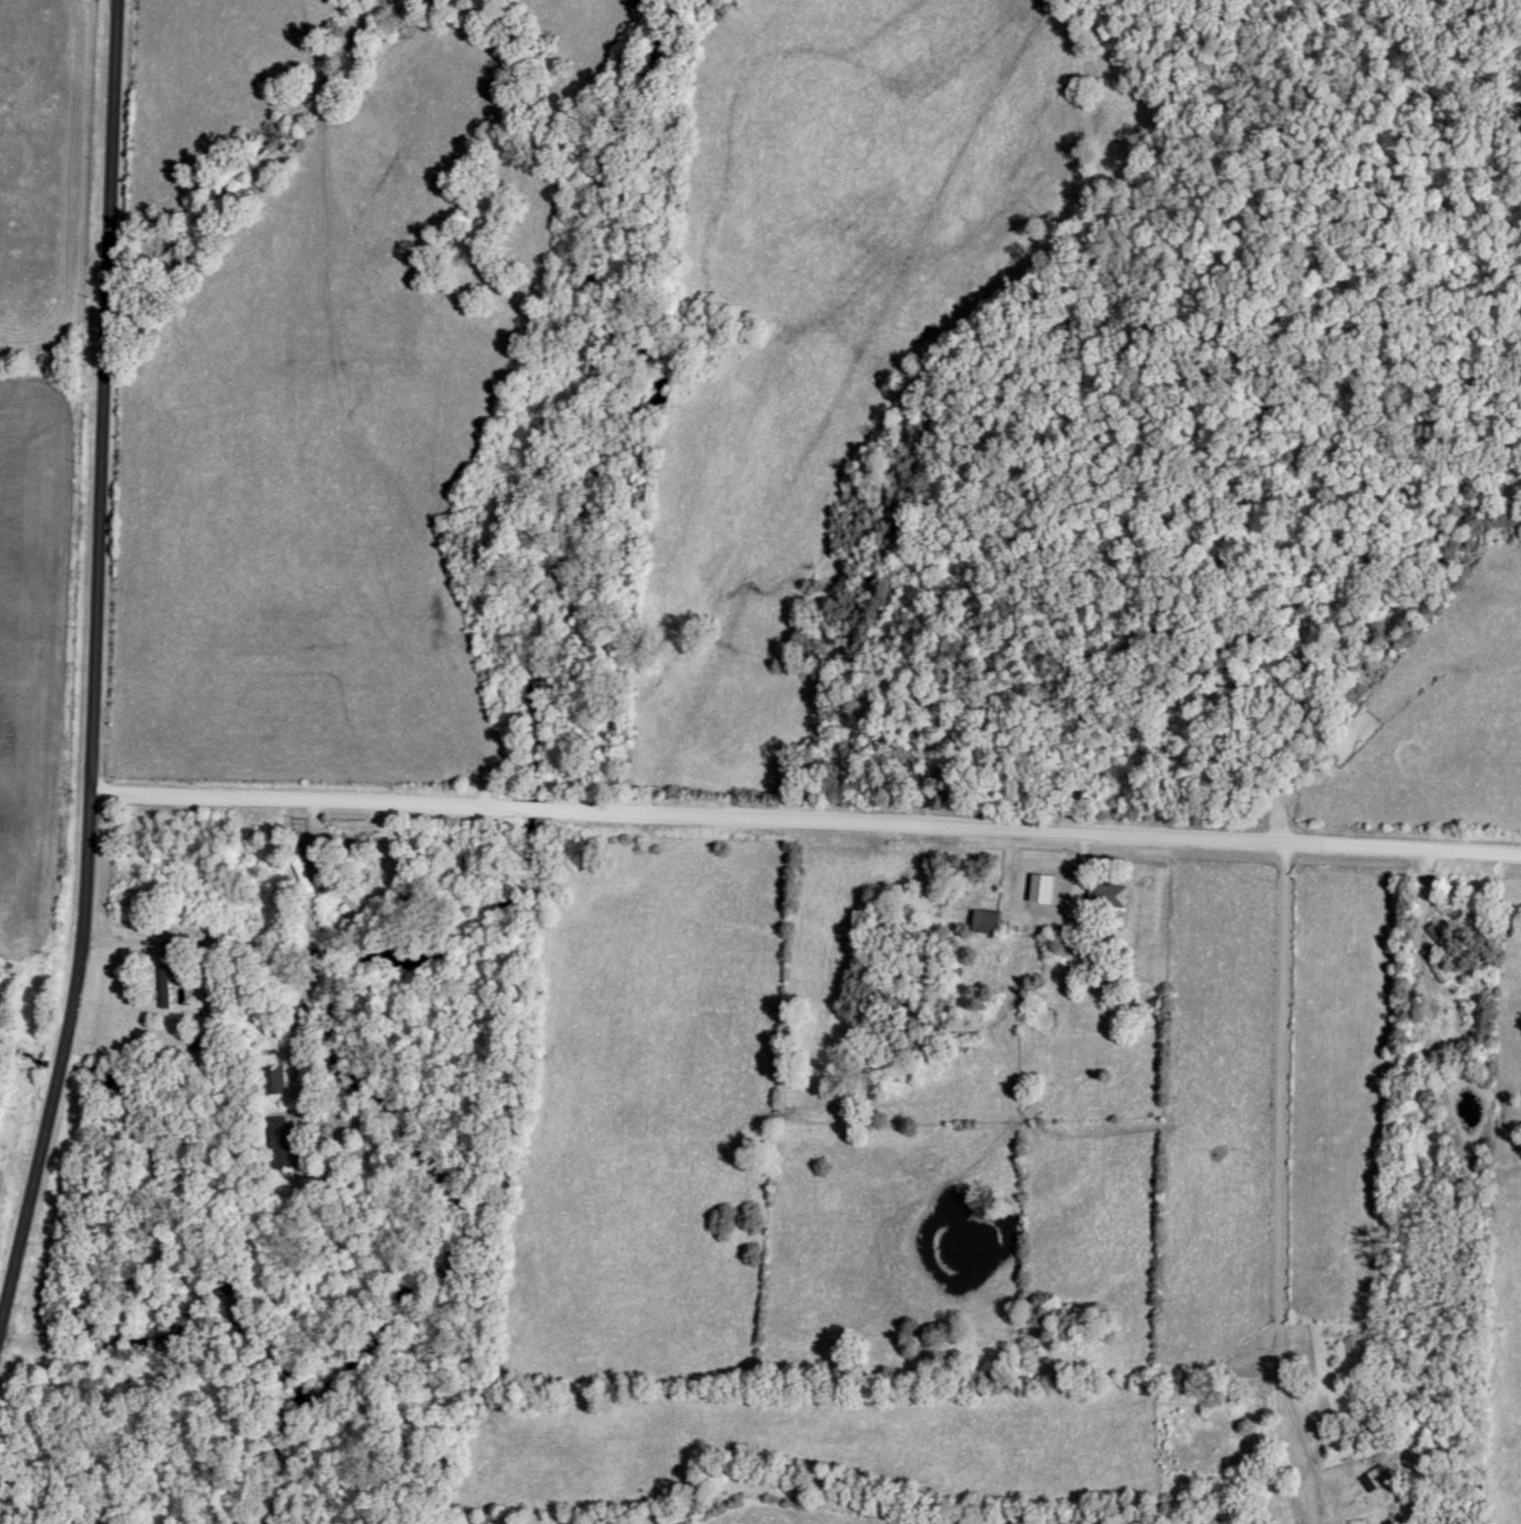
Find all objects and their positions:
road: (121, 1)
road: (100, 681)
parking lot: (486, 797)
road: (302, 804)
road: (515, 809)
road: (1022, 830)
building: (1109, 895)
building: (1058, 910)
building: (988, 922)
building: (1422, 936)
road: (335, 955)
building: (1001, 958)
building: (273, 1080)
building: (280, 1143)
road: (1286, 1187)

